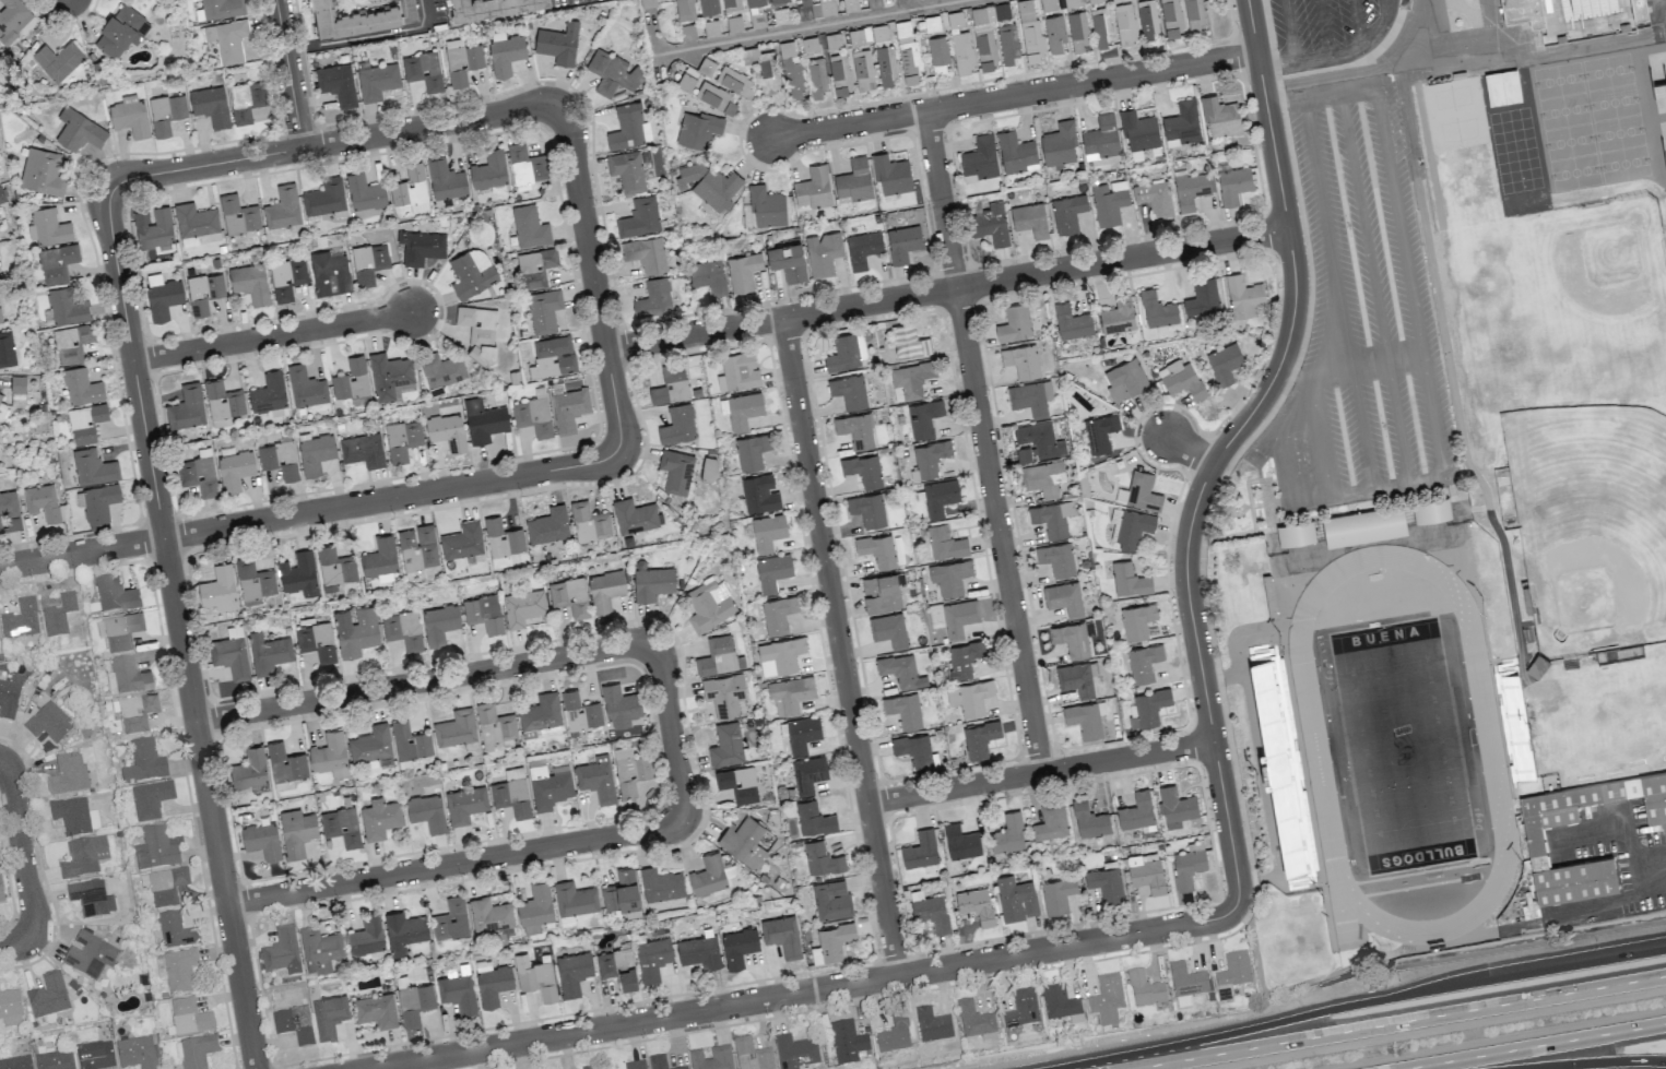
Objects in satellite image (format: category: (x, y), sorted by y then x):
building: (776, 0)
building: (874, 2)
building: (731, 4)
road: (912, 4)
building: (850, 5)
road: (900, 5)
building: (489, 7)
building: (708, 7)
building: (222, 8)
building: (824, 8)
building: (685, 9)
building: (1638, 9)
building: (406, 11)
building: (1522, 11)
building: (990, 12)
building: (1194, 15)
building: (13, 19)
building: (351, 19)
building: (955, 19)
building: (1171, 19)
building: (1147, 20)
road: (1357, 22)
building: (1125, 23)
road: (812, 26)
building: (1100, 27)
road: (1324, 28)
building: (120, 31)
building: (1029, 31)
road: (1290, 31)
parking lot: (1326, 31)
building: (687, 32)
building: (1078, 32)
building: (1054, 33)
road: (368, 34)
building: (867, 34)
building: (227, 39)
building: (558, 43)
building: (1008, 43)
road: (653, 44)
building: (962, 51)
building: (985, 51)
building: (907, 52)
building: (938, 54)
building: (505, 55)
road: (1338, 55)
building: (58, 60)
building: (461, 61)
building: (886, 63)
building: (763, 67)
building: (863, 69)
building: (423, 70)
building: (792, 71)
building: (612, 73)
road: (288, 74)
building: (840, 74)
building: (816, 76)
building: (376, 80)
building: (734, 81)
building: (336, 83)
building: (1501, 86)
road: (1338, 93)
road: (1014, 95)
building: (714, 97)
building: (246, 100)
road: (1285, 102)
building: (211, 105)
building: (166, 112)
building: (129, 115)
building: (1182, 123)
building: (628, 127)
building: (698, 129)
building: (78, 130)
building: (1138, 130)
building: (1101, 138)
road: (333, 143)
building: (1059, 144)
building: (1016, 152)
building: (979, 159)
building: (525, 164)
building: (488, 169)
building: (627, 170)
building: (42, 171)
building: (891, 175)
building: (445, 179)
building: (854, 180)
building: (708, 183)
building: (1233, 185)
building: (814, 187)
building: (411, 188)
building: (1191, 188)
building: (364, 191)
building: (1, 195)
building: (324, 197)
building: (1155, 198)
building: (1109, 202)
building: (282, 207)
building: (764, 207)
building: (365, 212)
building: (1067, 213)
building: (238, 214)
building: (639, 217)
building: (1030, 219)
building: (194, 223)
building: (991, 224)
building: (530, 226)
building: (48, 227)
building: (156, 228)
building: (902, 242)
building: (420, 248)
building: (862, 249)
building: (646, 253)
building: (823, 253)
building: (788, 261)
building: (57, 262)
building: (368, 262)
building: (535, 266)
building: (743, 271)
building: (471, 272)
building: (330, 273)
building: (708, 276)
building: (286, 277)
road: (592, 277)
road: (1408, 282)
building: (250, 283)
road: (945, 287)
road: (1373, 287)
building: (203, 292)
park: (1563, 293)
road: (1338, 294)
building: (162, 296)
building: (1243, 296)
building: (1202, 297)
building: (653, 298)
building: (66, 307)
building: (1157, 309)
building: (544, 310)
building: (1118, 314)
building: (0, 321)
building: (1072, 322)
building: (1014, 323)
parking lot: (1361, 325)
building: (478, 331)
road: (1331, 331)
road: (272, 336)
building: (909, 341)
building: (70, 343)
building: (847, 352)
building: (554, 355)
building: (1021, 360)
road: (1369, 361)
building: (1224, 363)
building: (441, 368)
building: (740, 370)
road: (1298, 375)
building: (390, 376)
building: (351, 379)
building: (1181, 379)
building: (910, 380)
building: (1125, 380)
building: (671, 384)
building: (81, 387)
building: (306, 387)
building: (849, 391)
building: (0, 395)
building: (269, 395)
building: (1030, 397)
building: (222, 403)
building: (186, 407)
building: (569, 408)
building: (2, 409)
building: (743, 409)
building: (533, 416)
building: (923, 417)
building: (484, 420)
building: (85, 421)
building: (677, 425)
building: (855, 429)
building: (447, 430)
building: (1099, 432)
road: (1319, 433)
building: (402, 439)
road: (983, 441)
building: (1037, 442)
road: (1222, 447)
road: (1186, 448)
building: (363, 450)
building: (752, 451)
building: (315, 453)
building: (930, 456)
building: (280, 459)
building: (93, 467)
building: (235, 470)
building: (863, 470)
building: (675, 471)
building: (199, 473)
building: (1042, 477)
road: (1286, 480)
road: (1407, 483)
building: (1143, 490)
building: (759, 494)
building: (940, 496)
building: (43, 502)
building: (99, 502)
building: (867, 509)
building: (10, 510)
building: (1431, 510)
road: (308, 512)
building: (634, 515)
building: (1052, 518)
park: (1590, 521)
building: (589, 523)
building: (548, 525)
building: (1363, 525)
building: (0, 527)
building: (1130, 527)
building: (768, 531)
building: (1295, 533)
building: (462, 539)
building: (501, 542)
building: (945, 543)
building: (417, 547)
building: (877, 549)
building: (380, 557)
building: (1058, 558)
building: (335, 567)
building: (772, 571)
building: (298, 573)
building: (949, 577)
building: (1129, 579)
building: (253, 581)
building: (652, 583)
building: (218, 589)
building: (605, 590)
building: (881, 592)
building: (114, 593)
building: (569, 596)
building: (1064, 598)
building: (709, 604)
building: (522, 607)
building: (484, 613)
building: (778, 614)
building: (58, 615)
building: (954, 616)
building: (20, 619)
building: (1137, 620)
building: (439, 623)
building: (403, 629)
building: (119, 630)
road: (178, 630)
building: (355, 630)
building: (889, 630)
building: (1072, 639)
building: (316, 641)
road: (840, 645)
building: (269, 653)
building: (231, 654)
building: (779, 655)
building: (719, 657)
building: (964, 657)
building: (1143, 662)
building: (901, 670)
building: (129, 675)
building: (1075, 679)
road: (424, 681)
building: (724, 693)
building: (790, 693)
building: (969, 697)
building: (8, 699)
building: (619, 702)
building: (1148, 708)
building: (905, 710)
building: (580, 711)
building: (137, 712)
building: (541, 712)
building: (1269, 712)
building: (1084, 718)
building: (51, 721)
building: (456, 727)
road: (669, 731)
building: (800, 733)
road: (1487, 733)
track: (1487, 733)
building: (980, 738)
building: (410, 740)
building: (370, 744)
park: (1402, 746)
building: (913, 749)
building: (330, 755)
building: (143, 762)
building: (285, 762)
building: (249, 769)
building: (630, 770)
building: (71, 772)
building: (808, 773)
road: (1040, 773)
building: (596, 779)
building: (739, 783)
building: (548, 788)
building: (511, 793)
building: (150, 799)
building: (464, 805)
building: (1175, 807)
building: (1136, 811)
building: (426, 812)
building: (74, 816)
building: (379, 818)
building: (813, 818)
building: (1089, 820)
building: (1051, 821)
building: (342, 825)
building: (296, 831)
building: (1007, 834)
road: (1586, 838)
building: (261, 840)
building: (1293, 841)
building: (744, 842)
building: (960, 842)
building: (1535, 843)
road: (21, 846)
road: (1634, 846)
building: (157, 847)
building: (920, 850)
building: (83, 856)
building: (820, 858)
road: (456, 863)
building: (1189, 865)
building: (1146, 872)
building: (708, 875)
building: (661, 883)
building: (1106, 883)
building: (166, 886)
building: (621, 890)
building: (1, 892)
building: (1056, 894)
building: (91, 898)
building: (575, 898)
road: (1616, 898)
building: (830, 899)
building: (1016, 899)
building: (976, 905)
building: (535, 907)
building: (1529, 908)
building: (932, 912)
building: (489, 915)
building: (451, 919)
building: (174, 930)
building: (404, 931)
building: (366, 935)
building: (782, 935)
road: (15, 941)
building: (831, 942)
building: (737, 947)
building: (319, 949)
building: (699, 951)
building: (281, 952)
road: (1600, 953)
building: (88, 954)
building: (652, 958)
building: (617, 966)
building: (179, 970)
building: (572, 973)
building: (1232, 974)
building: (535, 977)
building: (1186, 981)
building: (492, 983)
building: (1144, 989)
road: (810, 990)
building: (458, 993)
building: (47, 995)
building: (1106, 999)
road: (1372, 1000)
building: (1182, 1001)
building: (414, 1002)
building: (1059, 1003)
building: (10, 1008)
building: (1021, 1009)
building: (376, 1010)
building: (329, 1015)
building: (189, 1017)
building: (974, 1021)
road: (1396, 1023)
building: (294, 1024)
building: (932, 1024)
building: (891, 1038)
building: (847, 1042)
road: (1534, 1045)
building: (197, 1050)
building: (794, 1052)
building: (135, 1053)
building: (95, 1055)
building: (752, 1055)
building: (711, 1058)
building: (55, 1059)
building: (658, 1061)
building: (15, 1062)
road: (1604, 1064)
building: (635, 1065)
building: (591, 1067)
building: (682, 1068)

